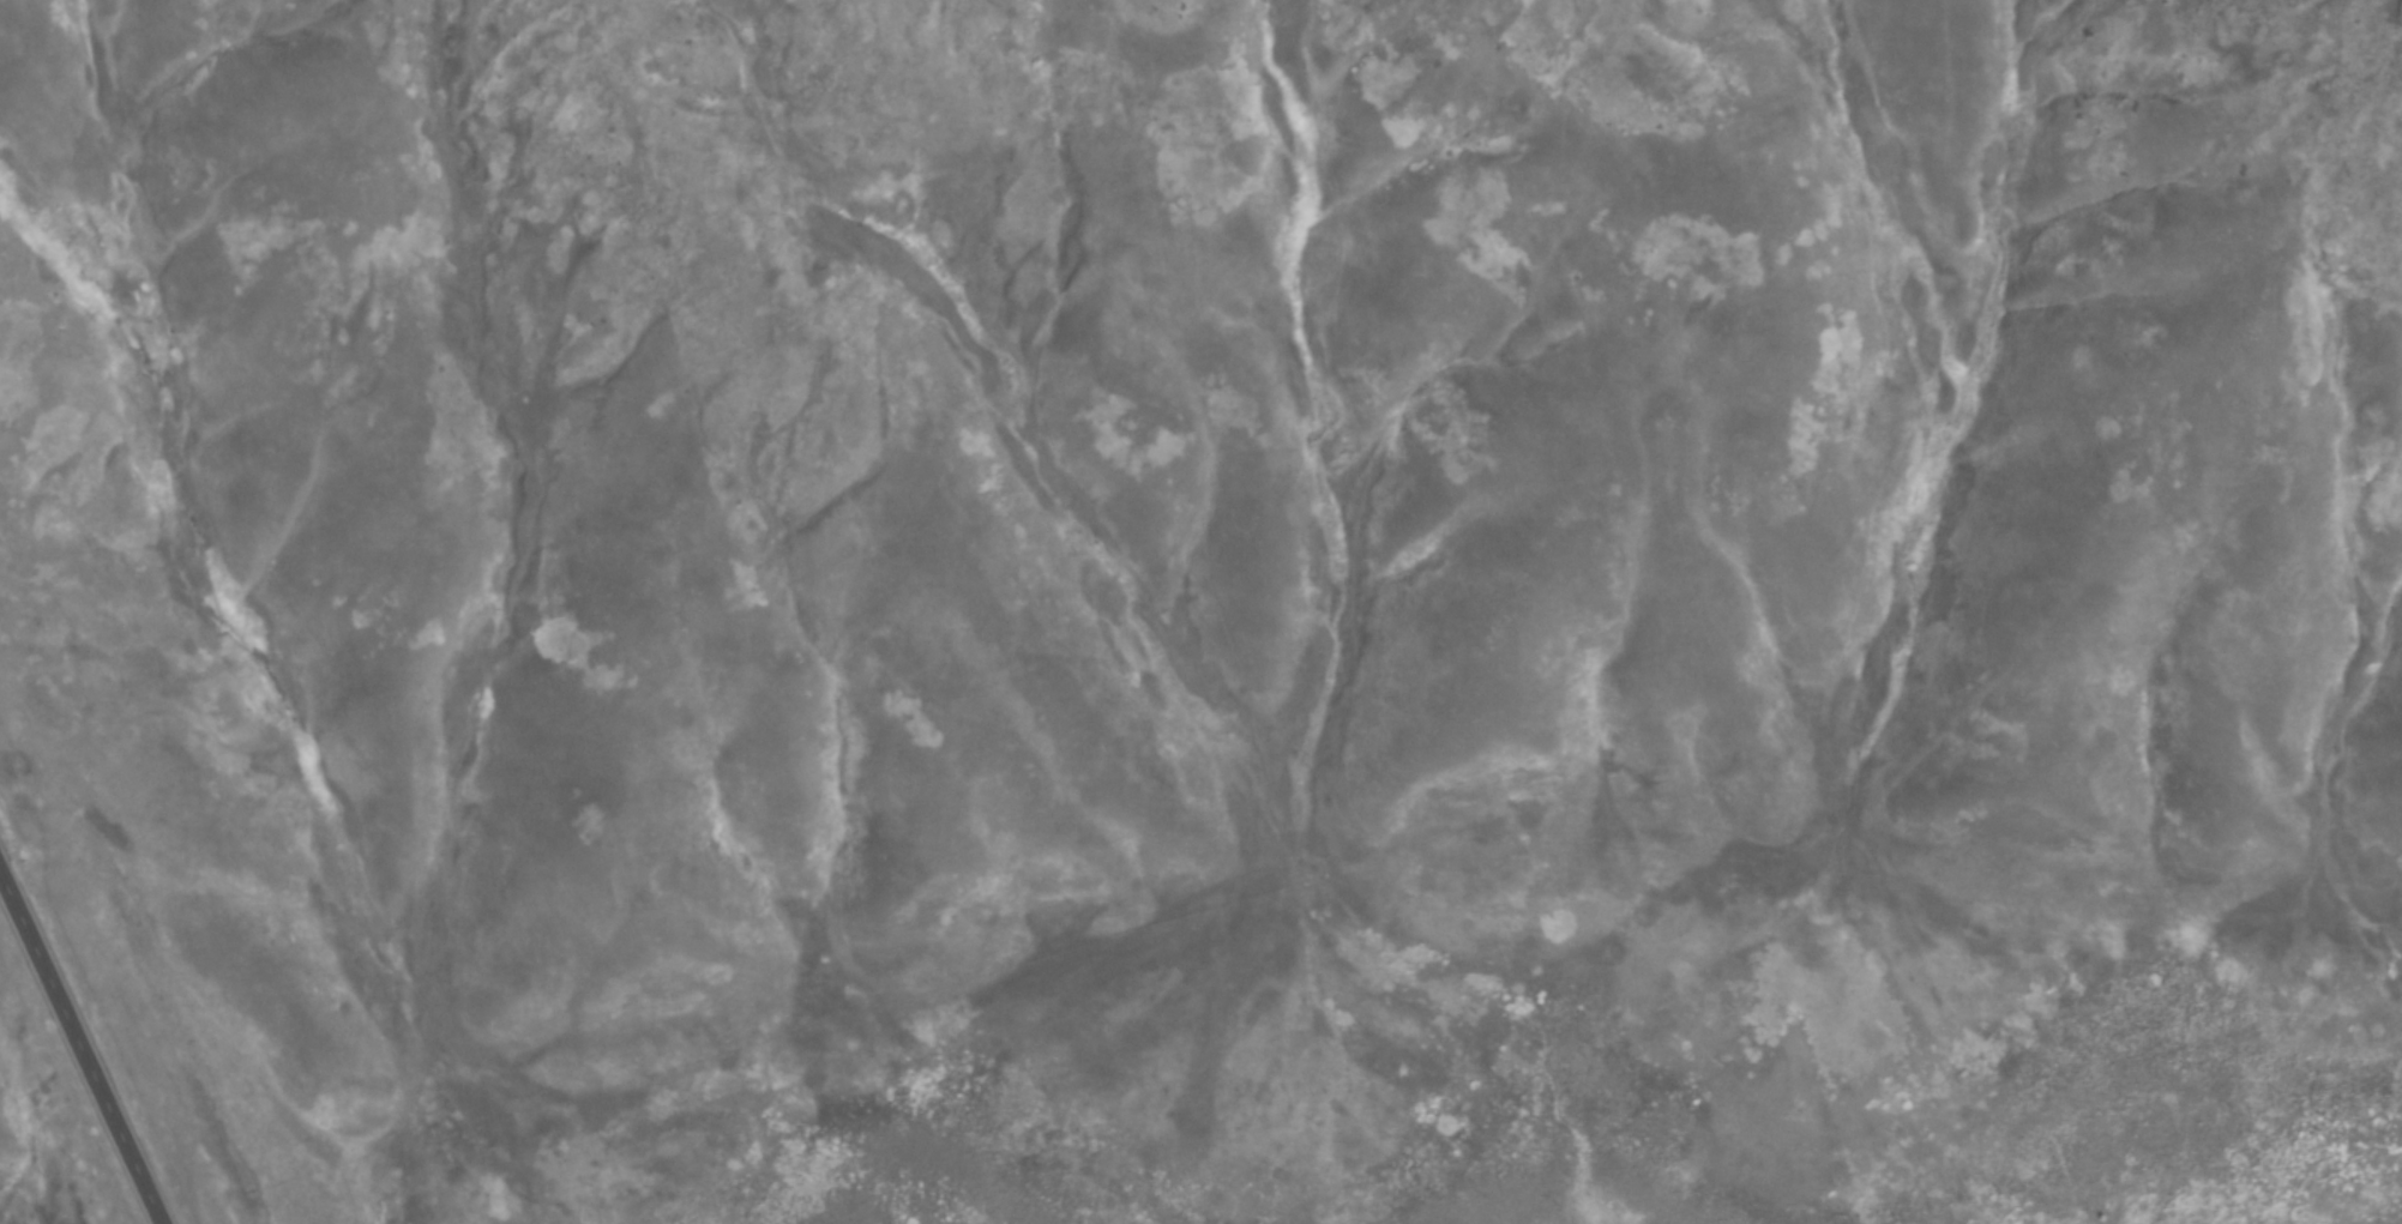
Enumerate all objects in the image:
road: (67, 997)
road: (152, 1182)

